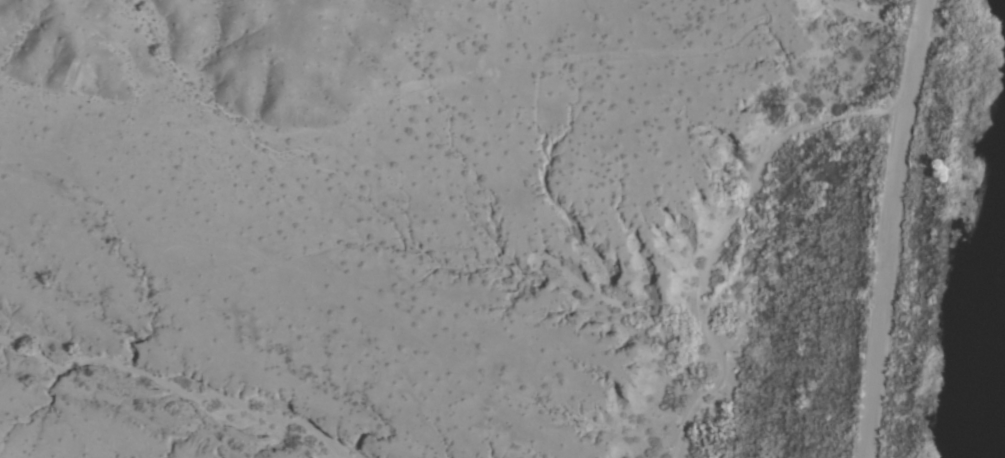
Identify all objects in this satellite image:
road: (819, 227)

